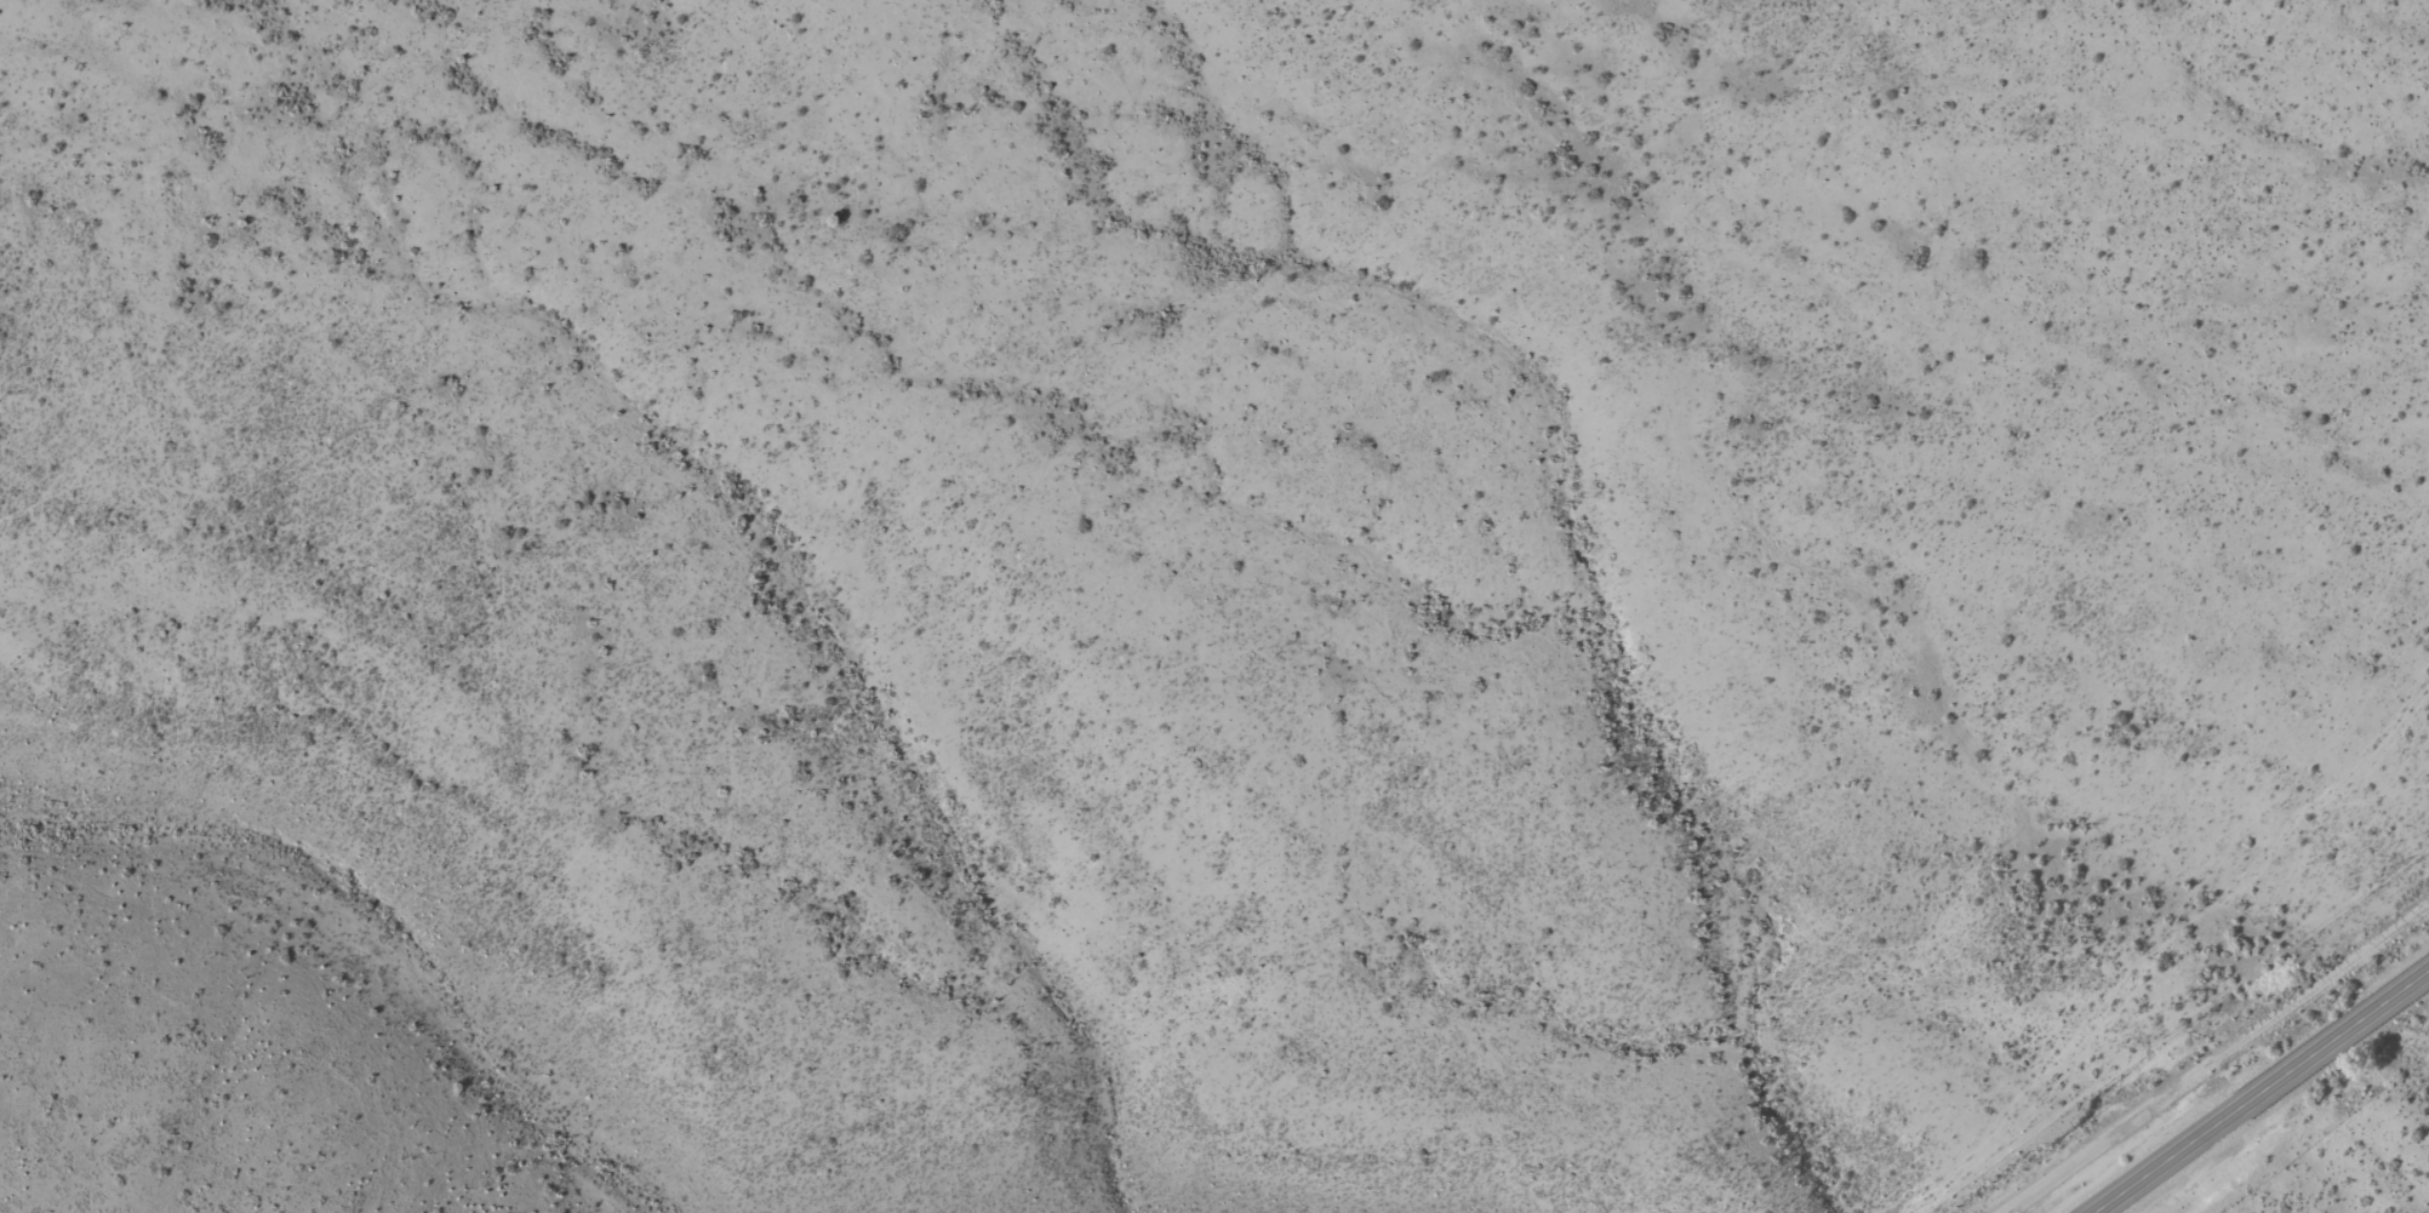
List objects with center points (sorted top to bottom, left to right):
road: (2259, 1089)

